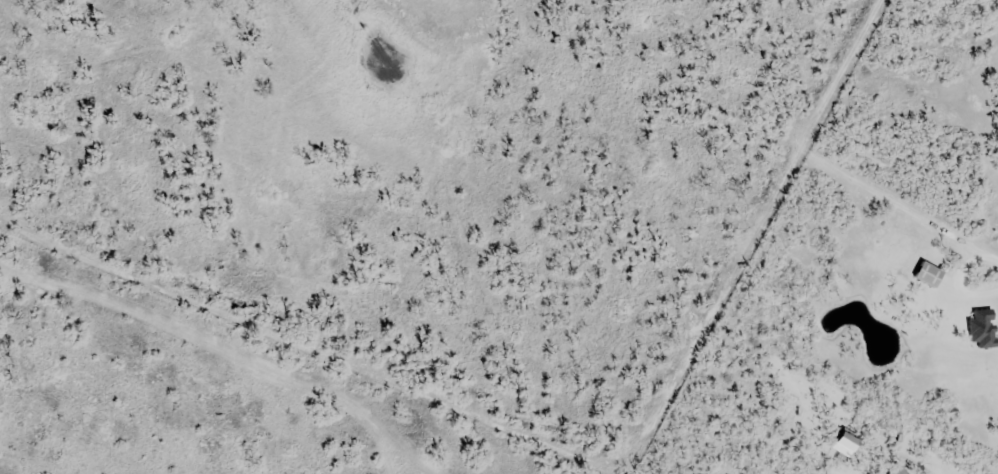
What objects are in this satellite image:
building: (925, 275)
building: (979, 328)
building: (842, 443)

